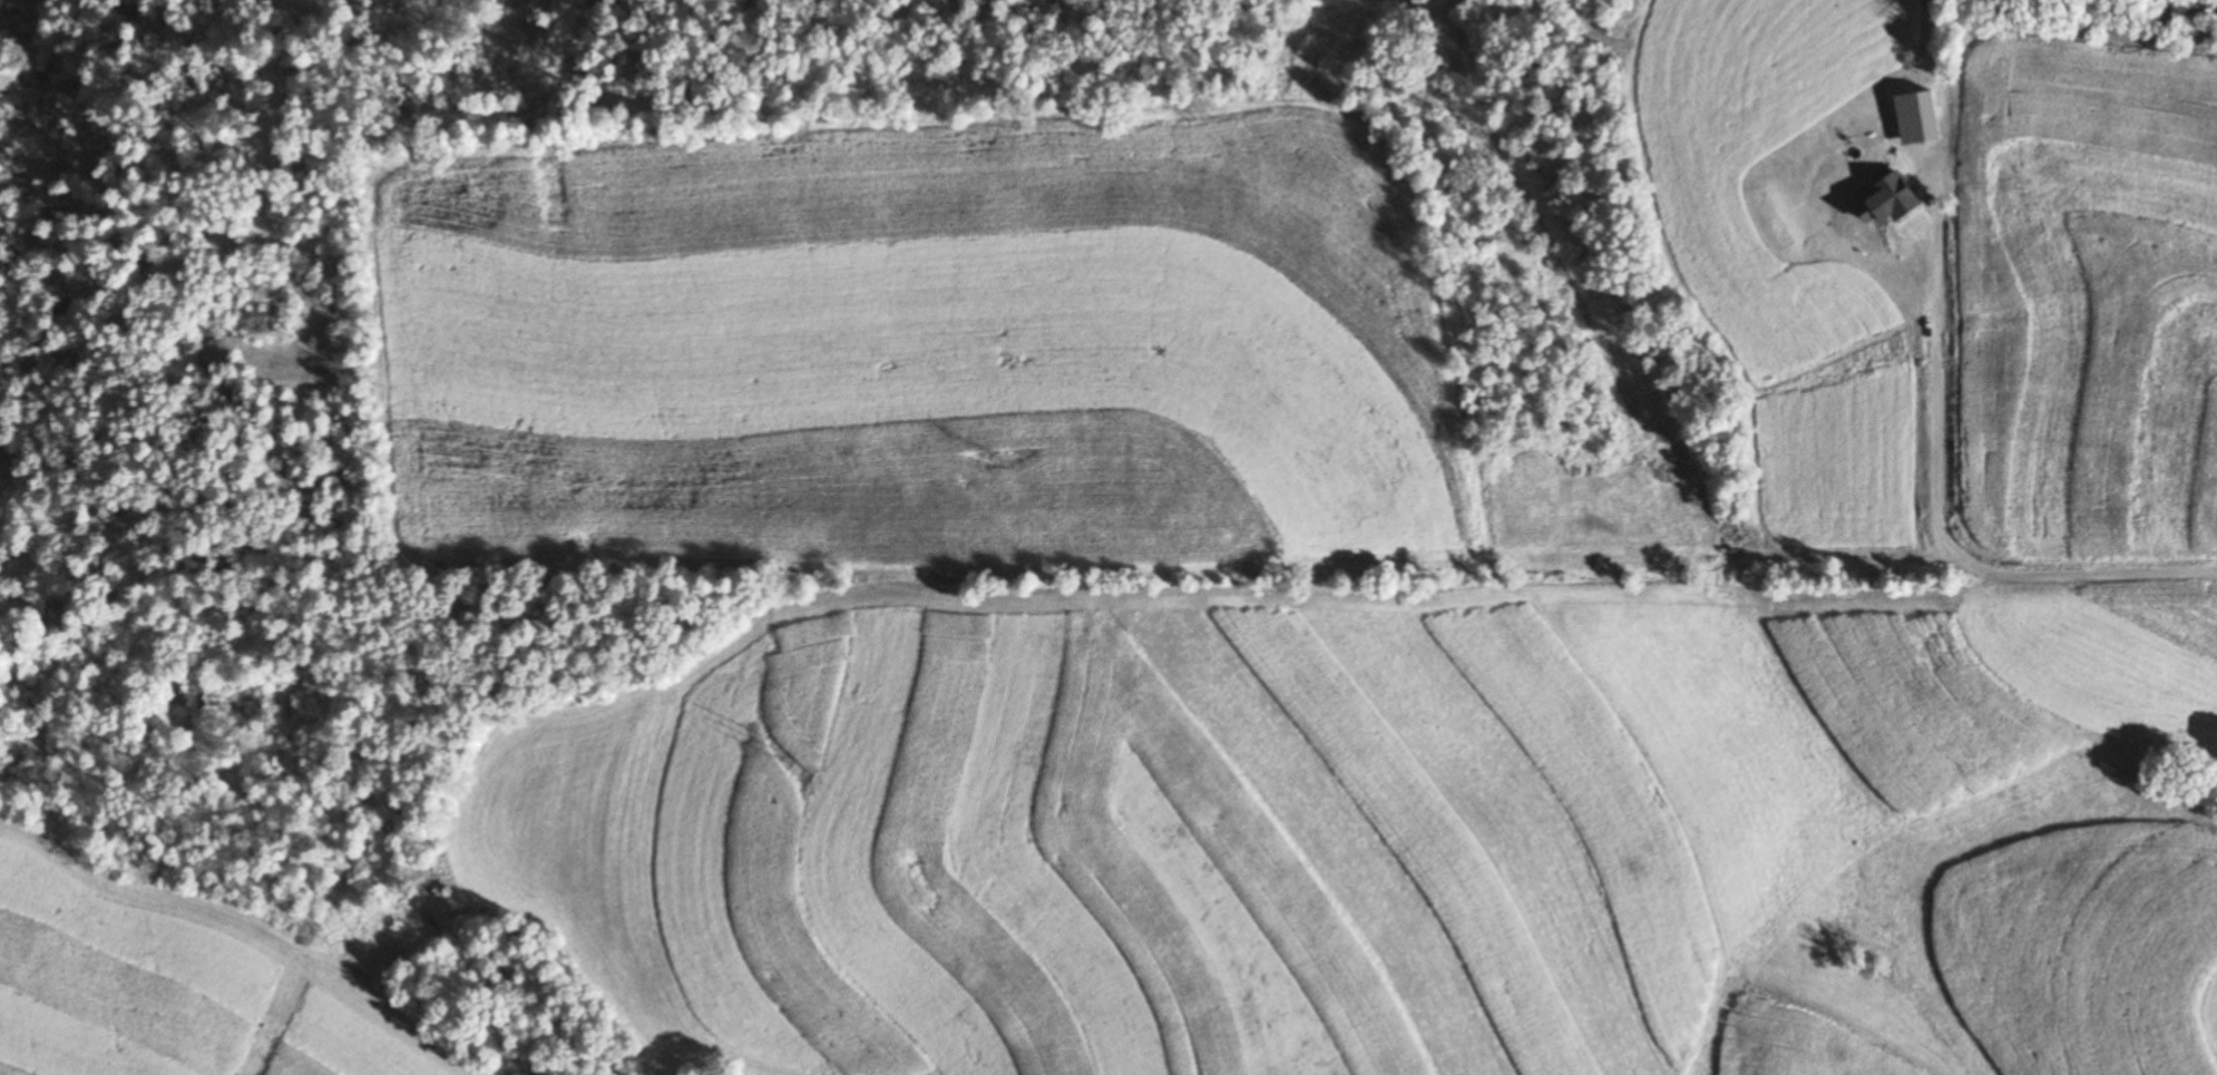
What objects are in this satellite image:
crop: (1783, 246)
crop: (2091, 304)
crop: (505, 350)
crop: (1034, 355)
power tower: (998, 457)
road: (1938, 525)
road: (1289, 675)
power tower: (774, 749)
crop: (1804, 815)
crop: (1017, 859)
crop: (131, 1010)

